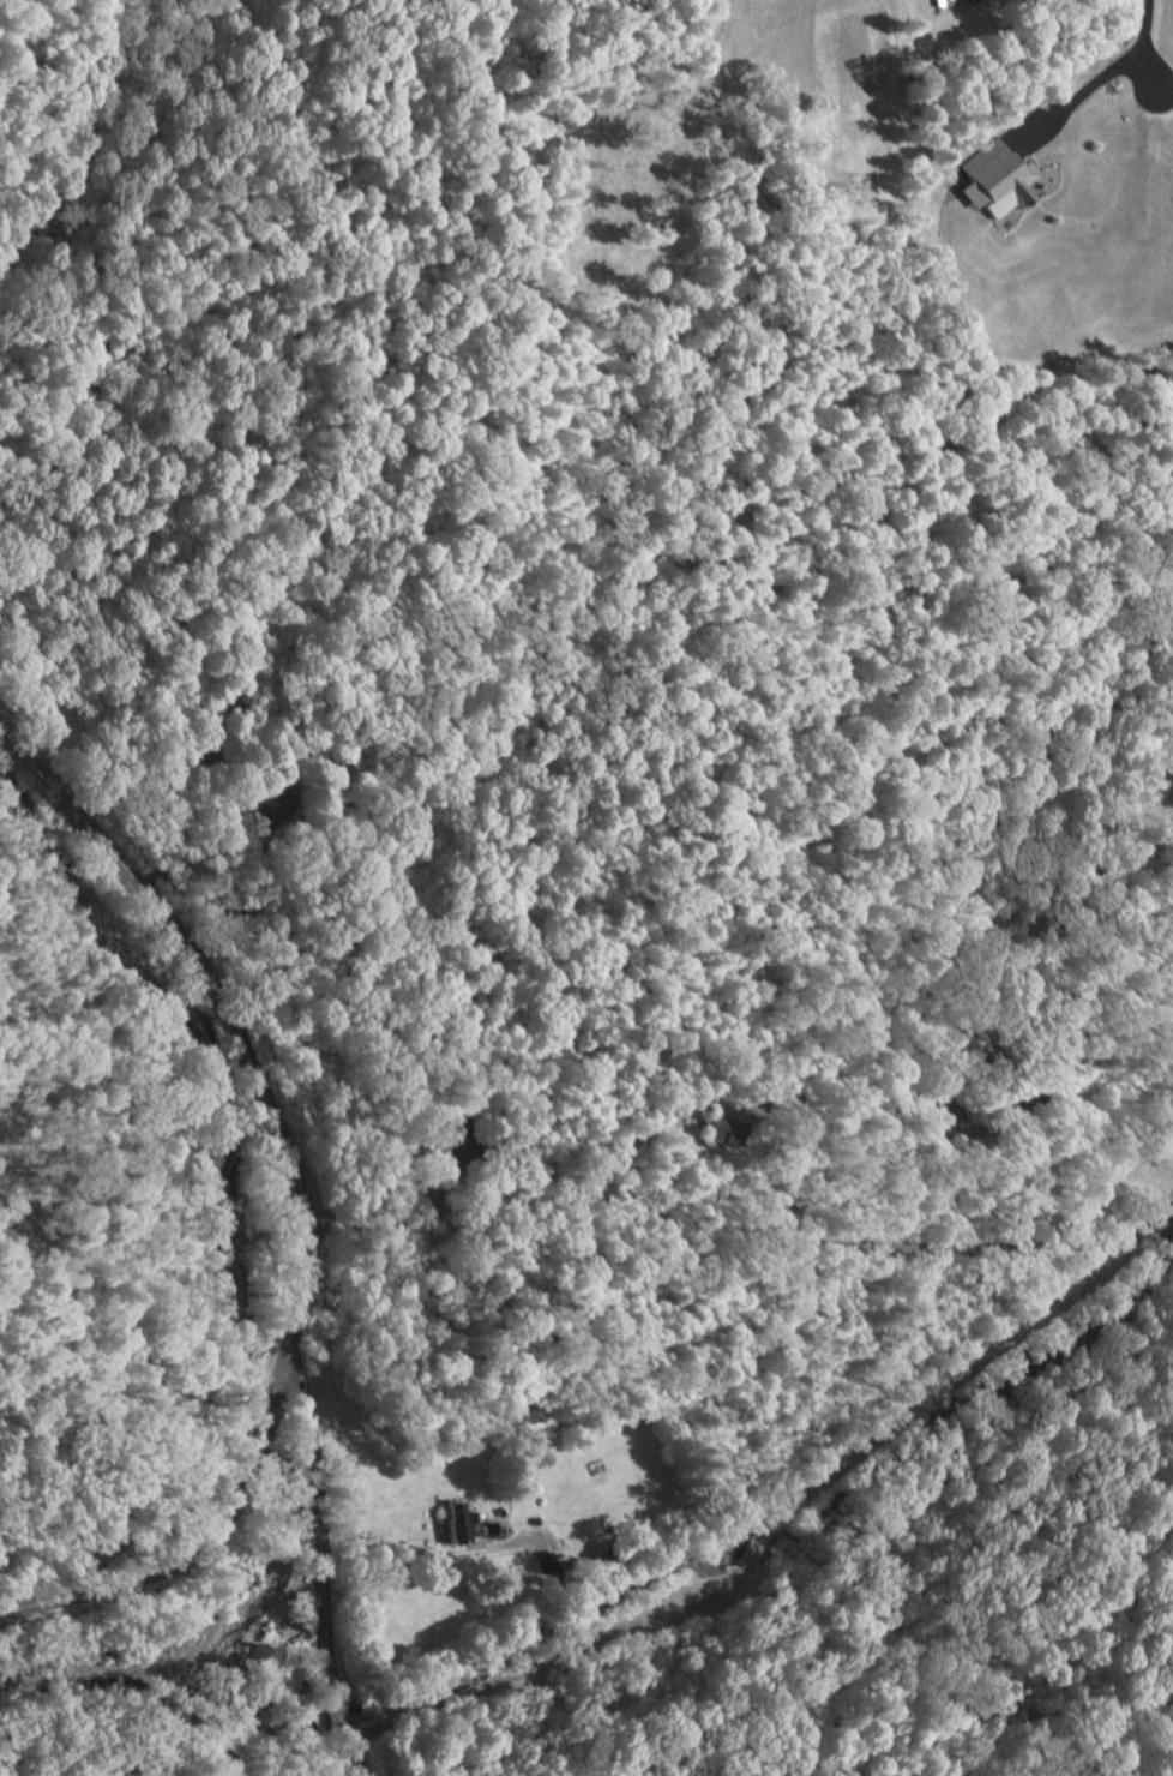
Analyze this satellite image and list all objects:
road: (1100, 83)
building: (997, 178)
road: (237, 914)
road: (234, 1020)
building: (724, 1132)
road: (977, 1199)
road: (1155, 1224)
road: (371, 1235)
road: (782, 1236)
road: (261, 1418)
road: (319, 1520)
building: (461, 1524)
road: (757, 1537)
road: (425, 1556)
road: (152, 1577)
road: (337, 1709)
road: (353, 1754)

